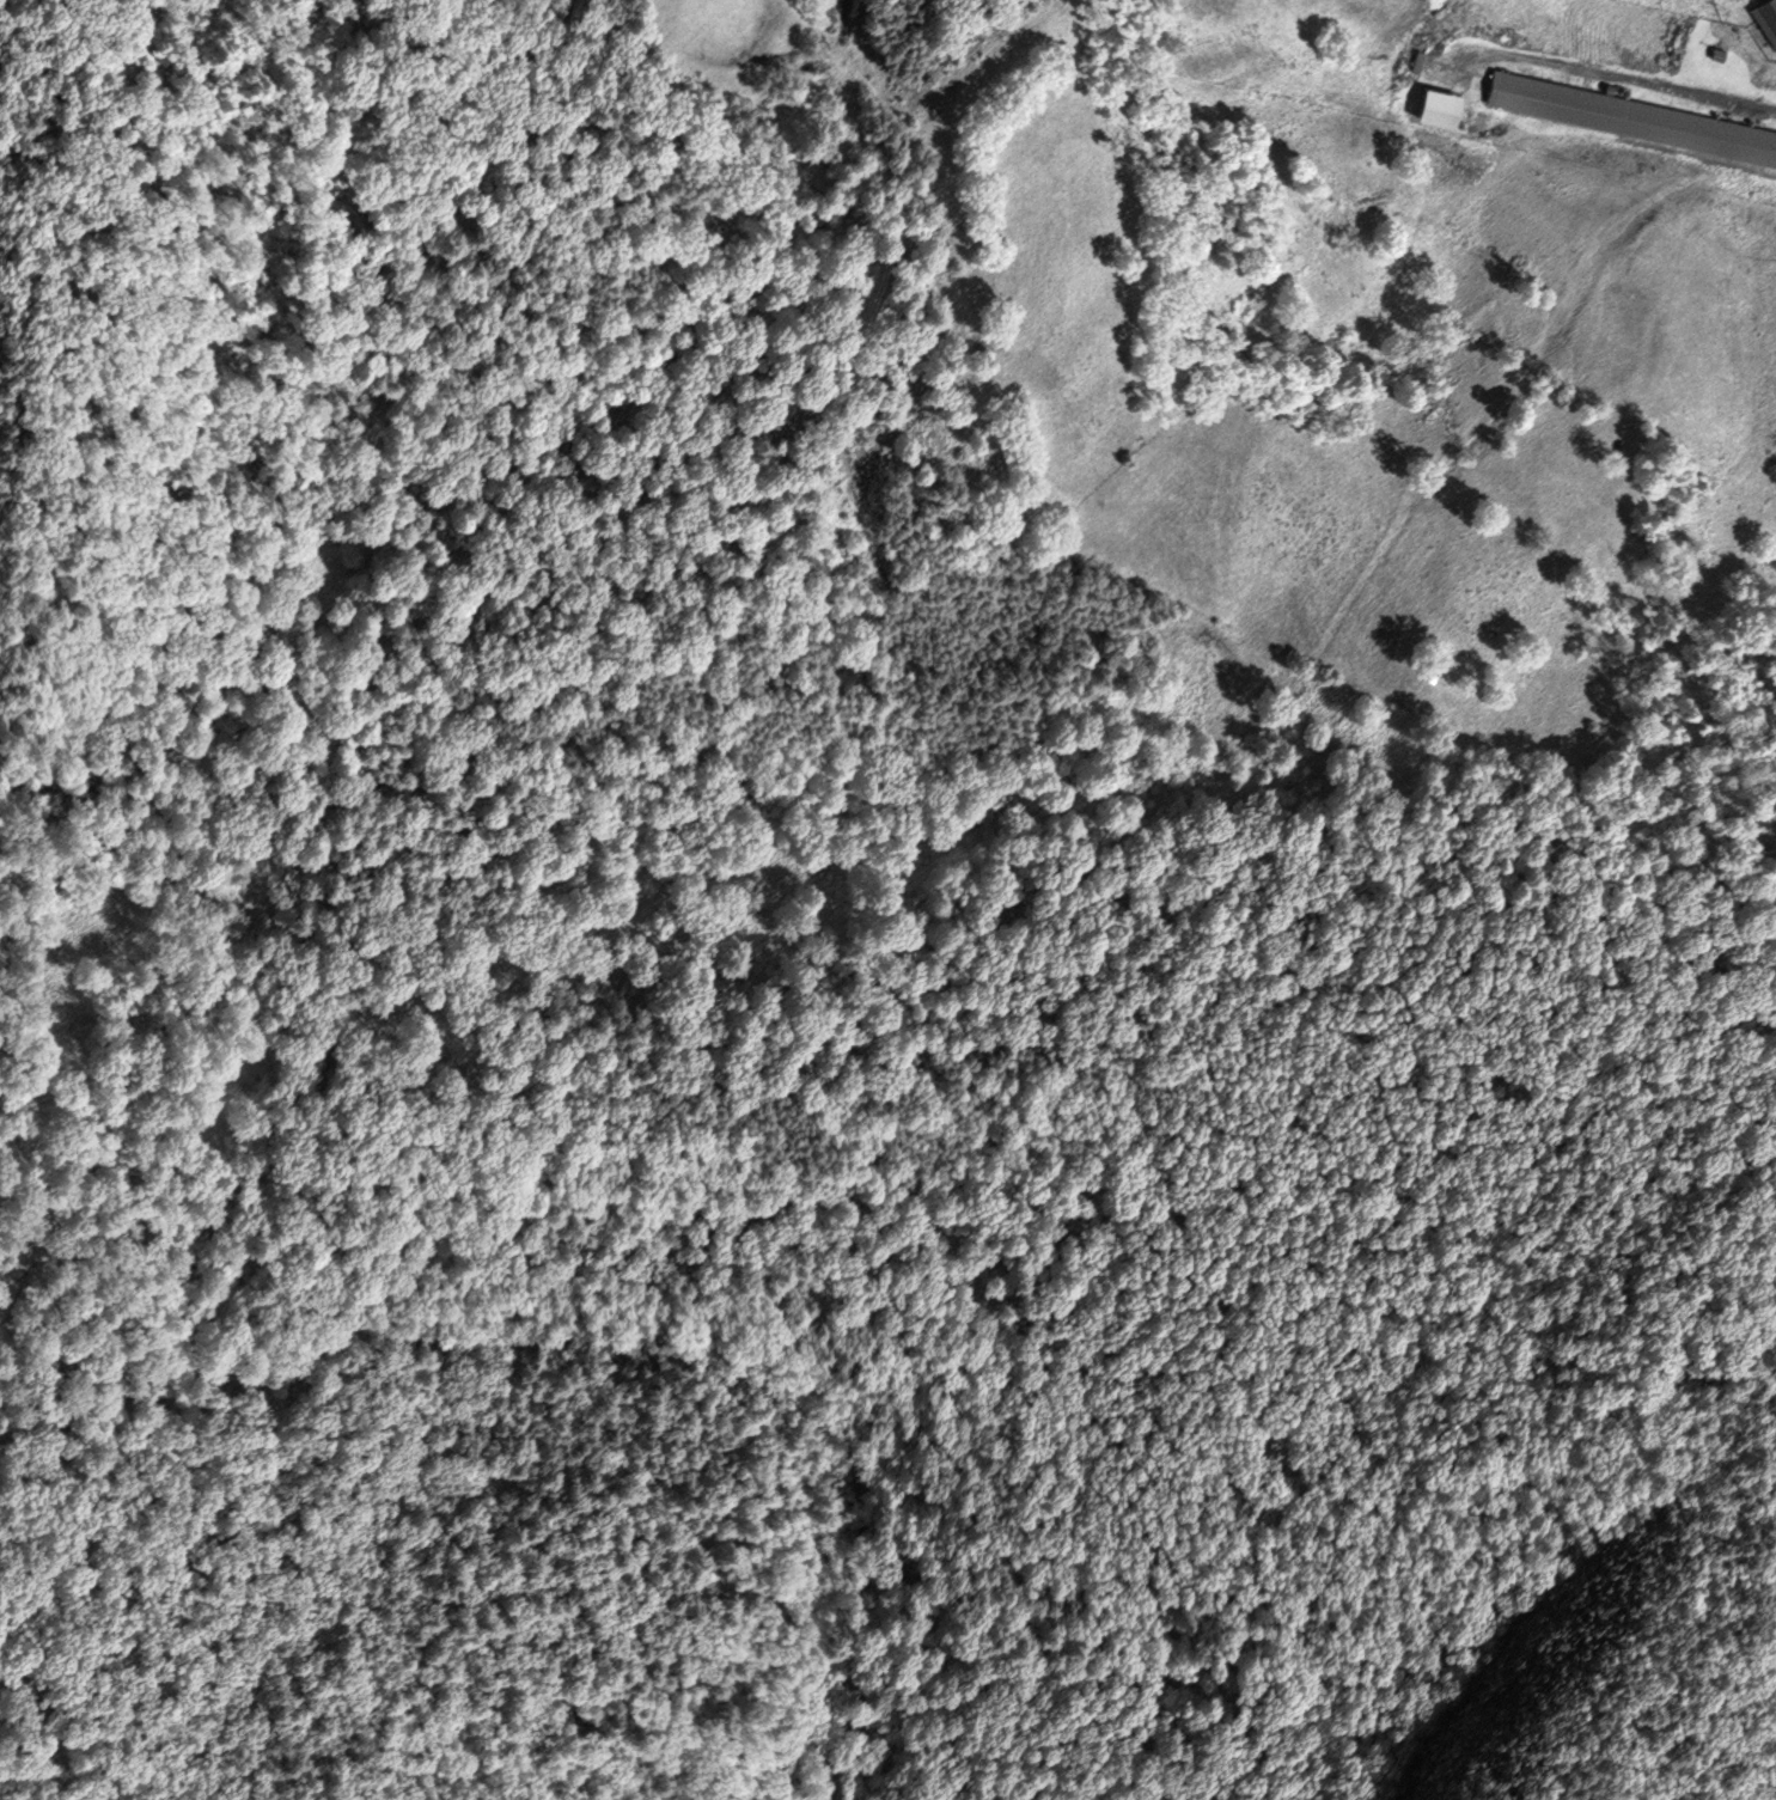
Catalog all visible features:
building: (1764, 19)
building: (1422, 57)
road: (1619, 80)
building: (1632, 115)

